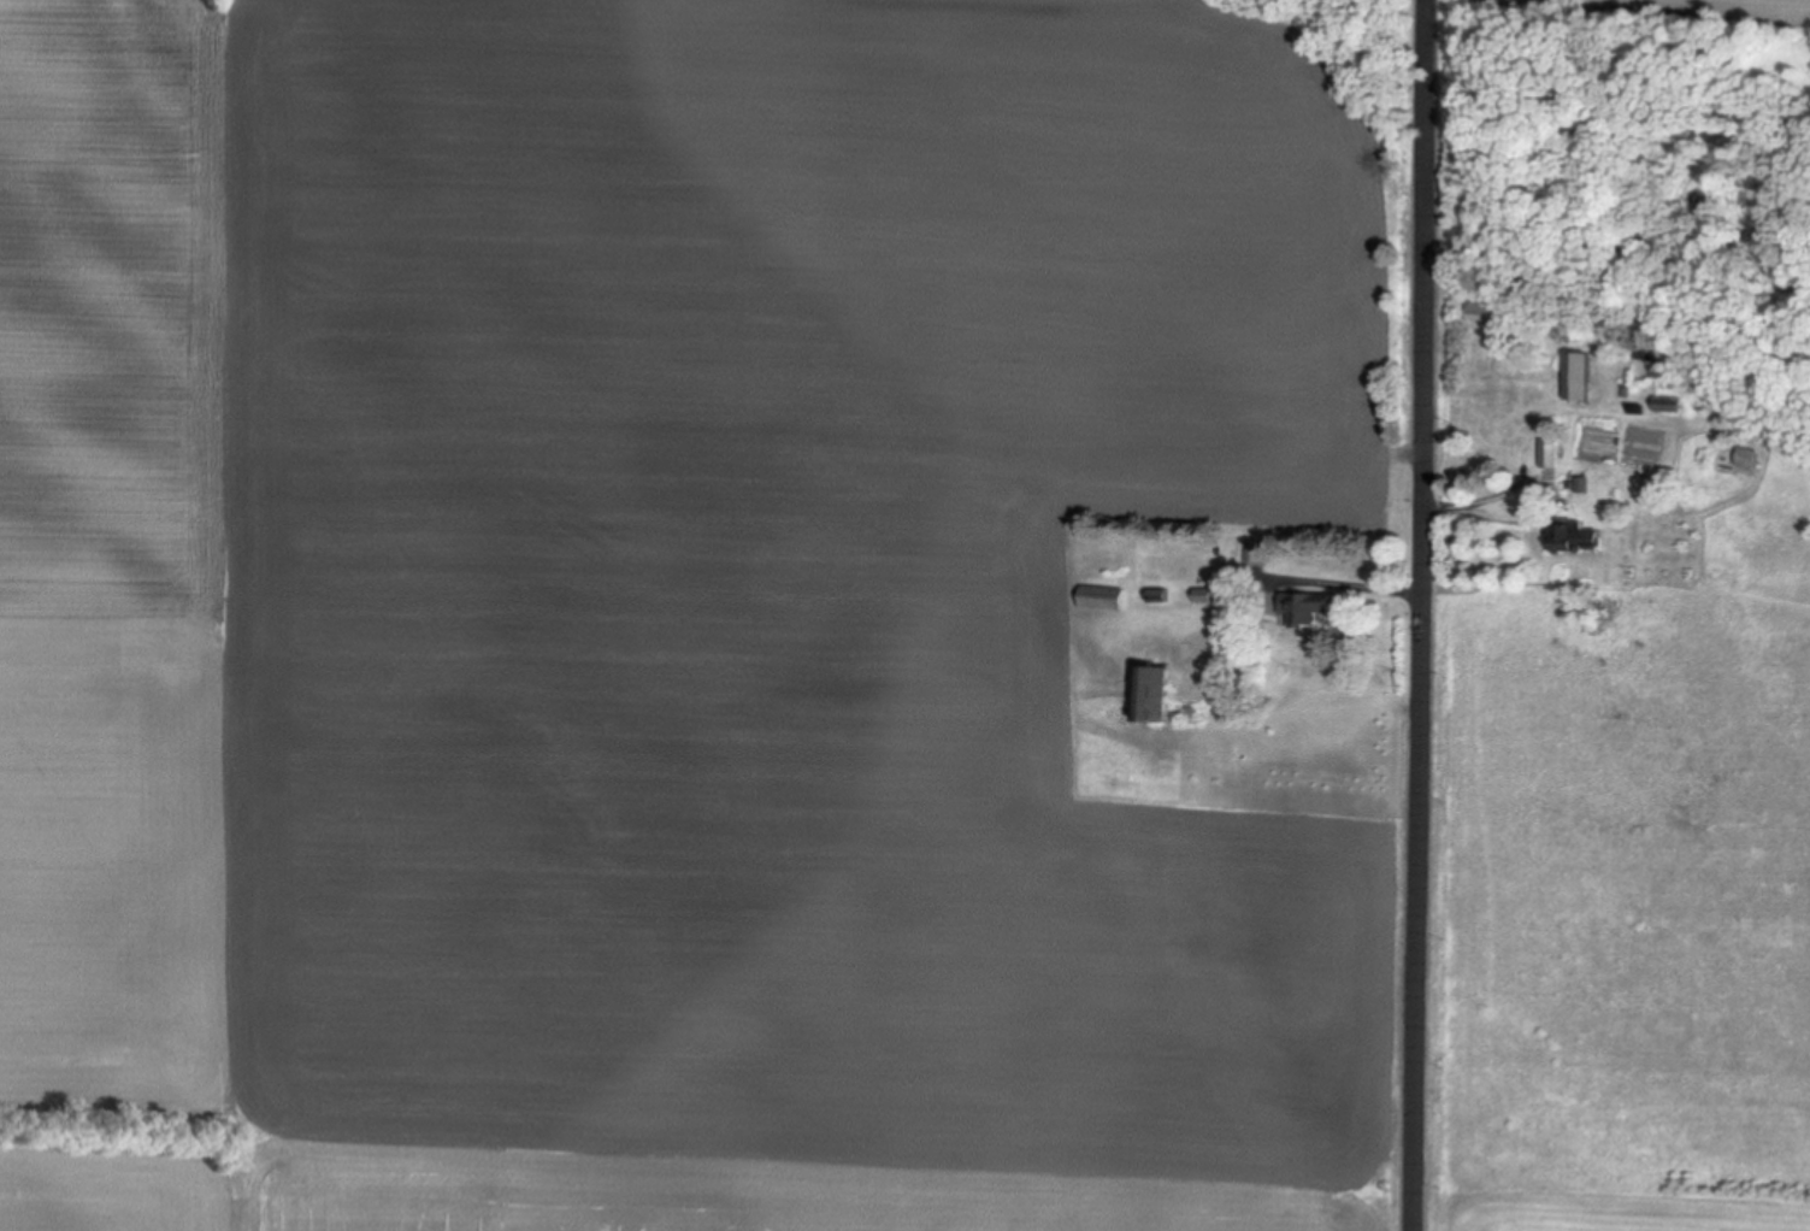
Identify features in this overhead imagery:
building: (1487, 313)
building: (1581, 378)
building: (1672, 406)
building: (1550, 455)
building: (1750, 460)
building: (1576, 540)
building: (1256, 554)
building: (1204, 599)
building: (1104, 600)
building: (1308, 609)
road: (1422, 614)
building: (1157, 696)

